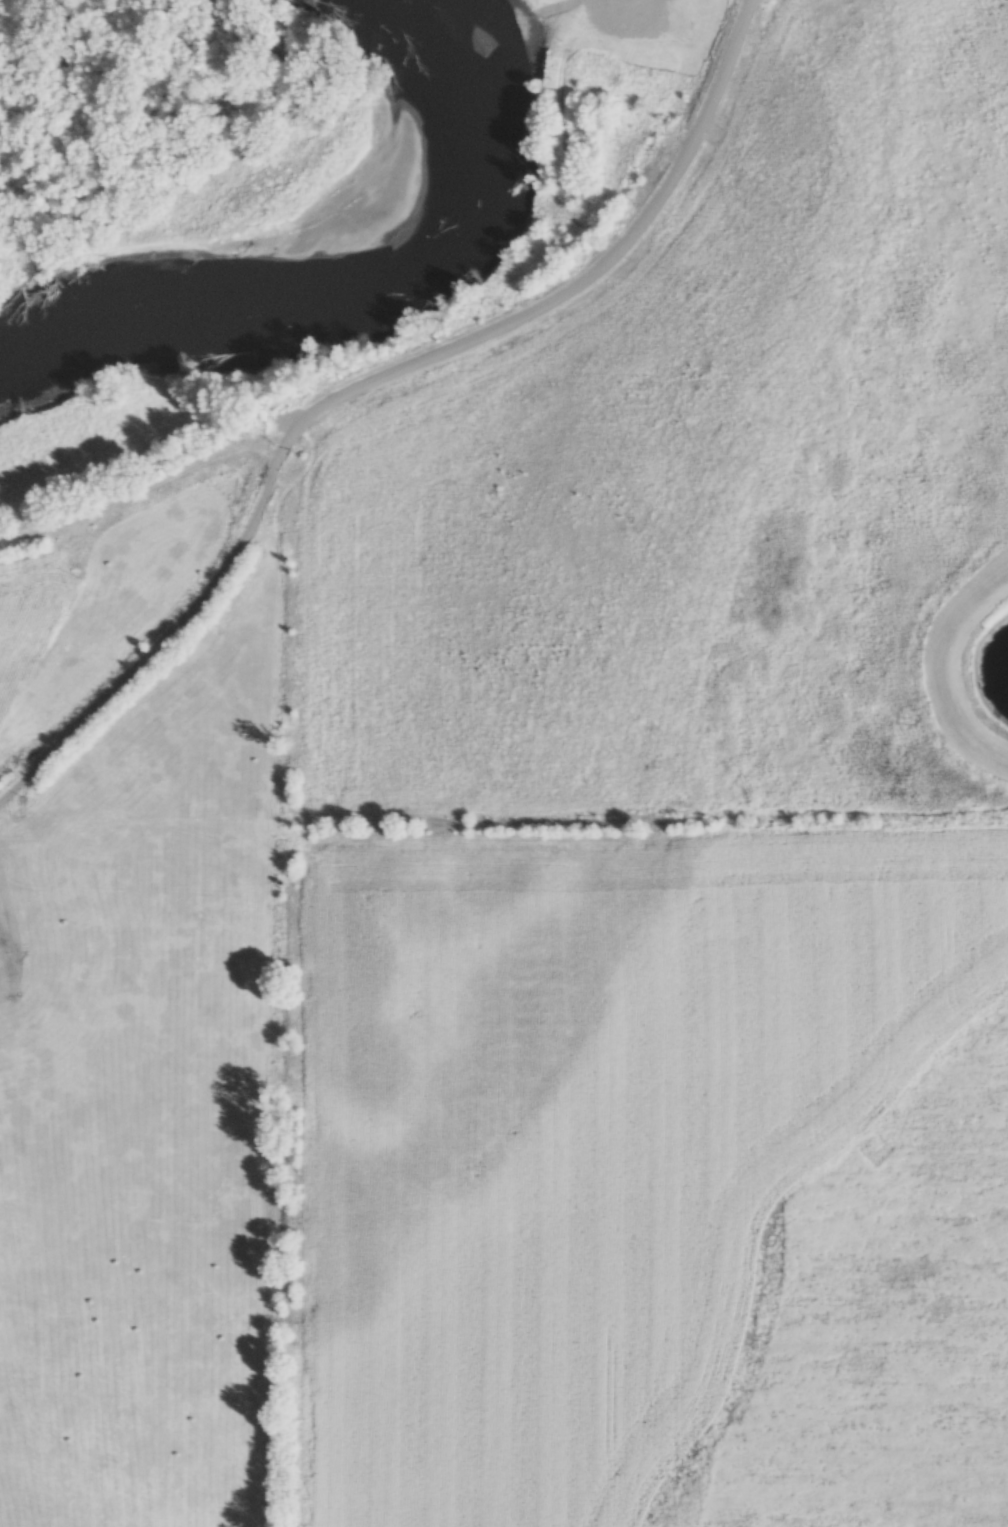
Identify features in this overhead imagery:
river: (304, 235)
road: (373, 382)

